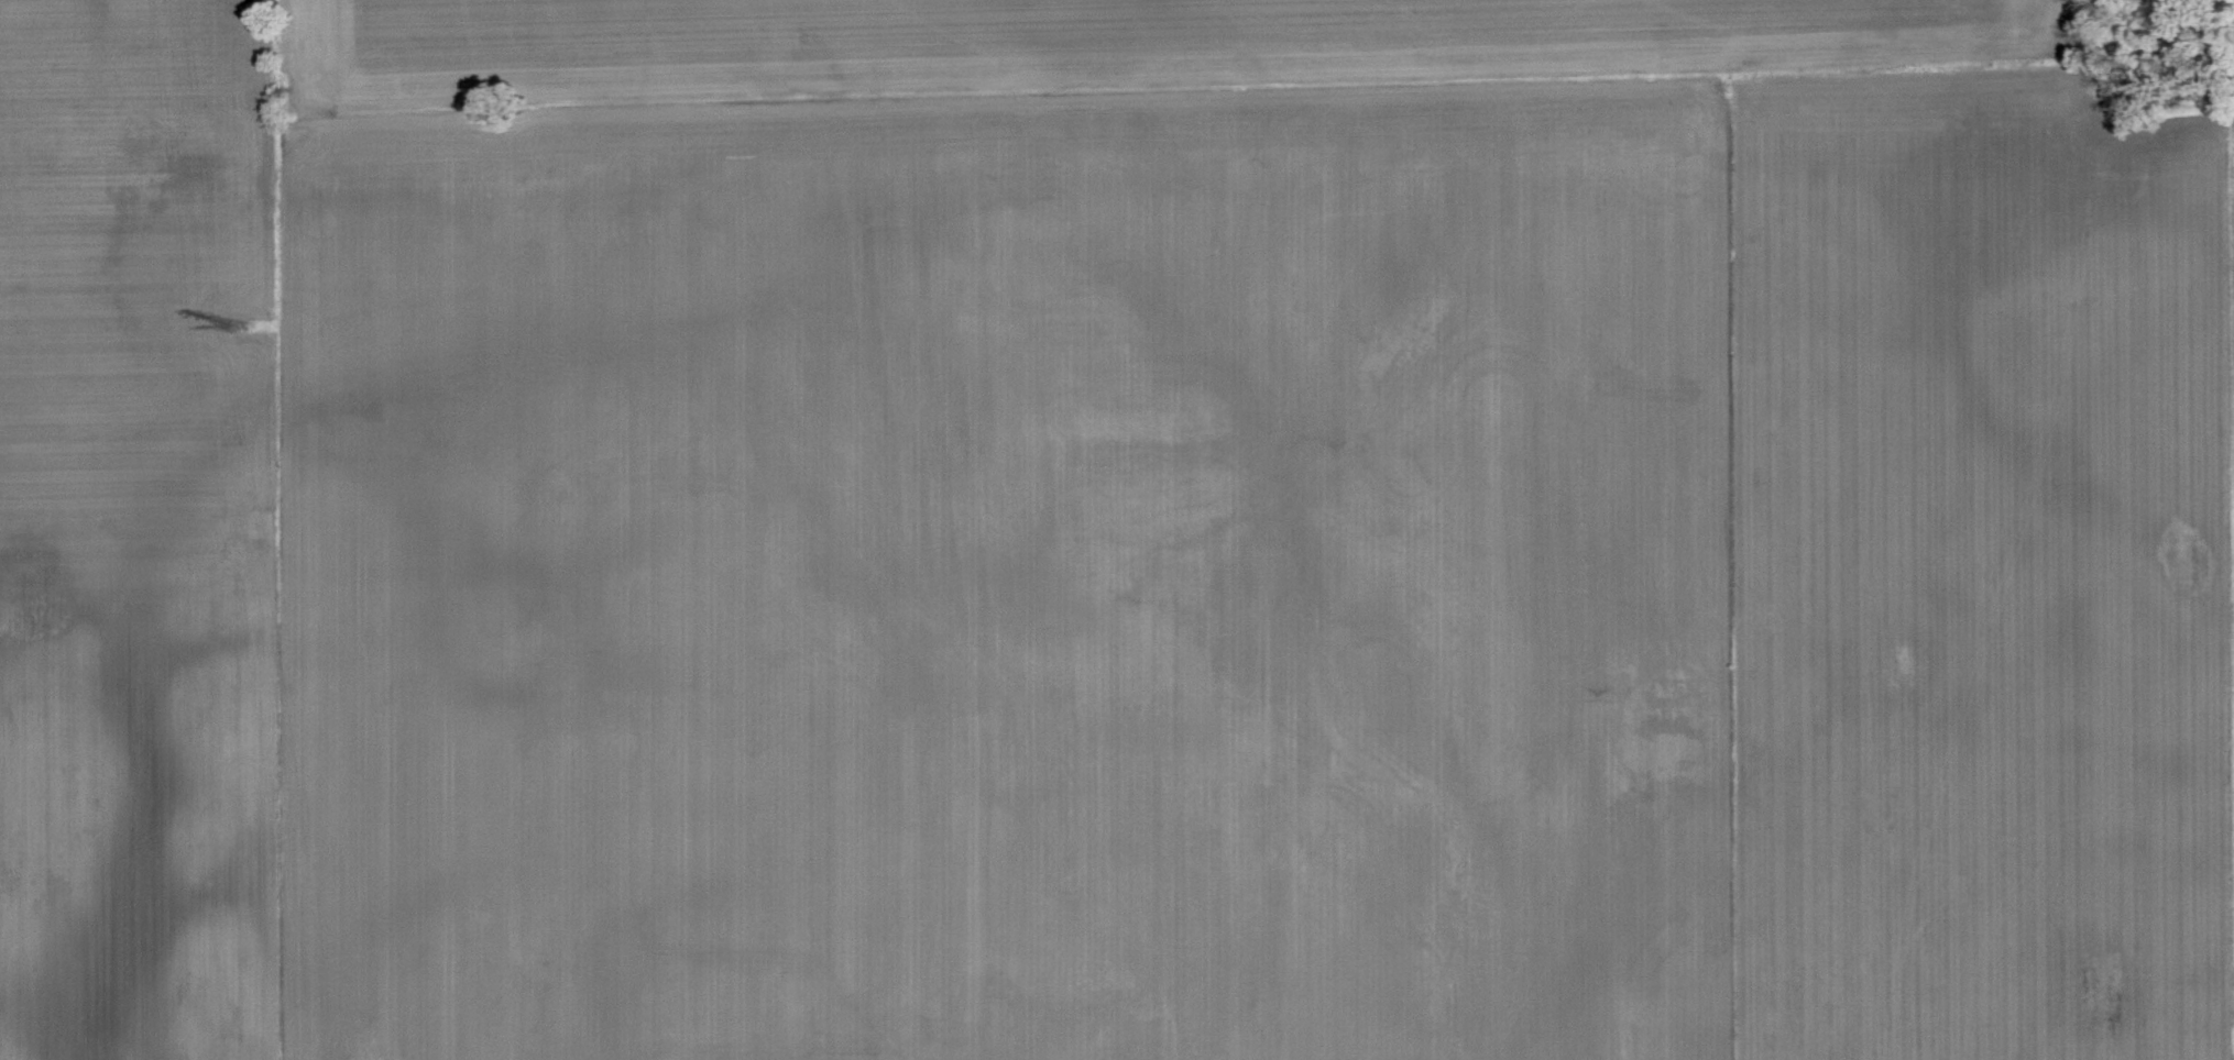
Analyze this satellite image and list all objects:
power tower: (247, 328)

